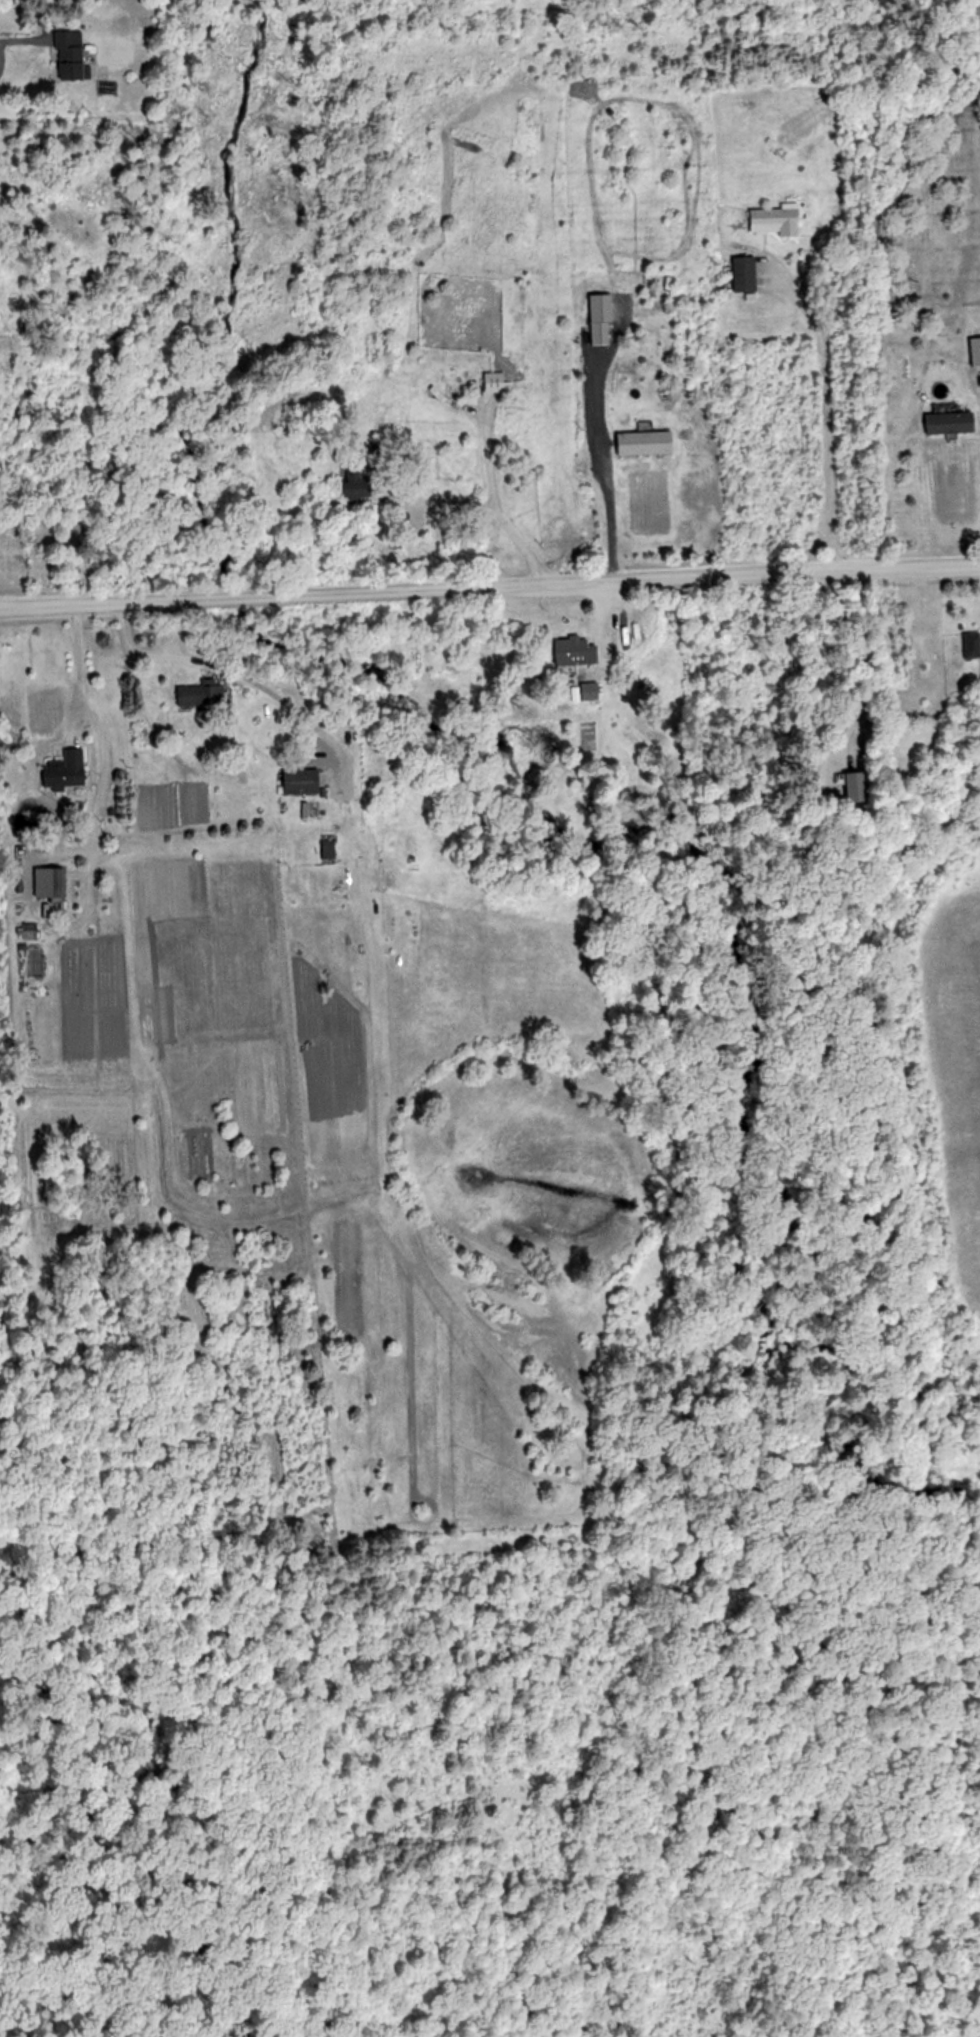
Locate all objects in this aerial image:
road: (17, 40)
building: (71, 57)
building: (777, 221)
building: (745, 275)
road: (591, 408)
road: (827, 418)
building: (951, 422)
building: (645, 442)
building: (358, 481)
road: (497, 507)
road: (456, 509)
road: (605, 522)
road: (489, 590)
building: (971, 645)
building: (578, 652)
road: (74, 670)
road: (237, 674)
building: (592, 692)
building: (201, 695)
road: (97, 749)
building: (66, 771)
building: (302, 781)
building: (53, 882)

